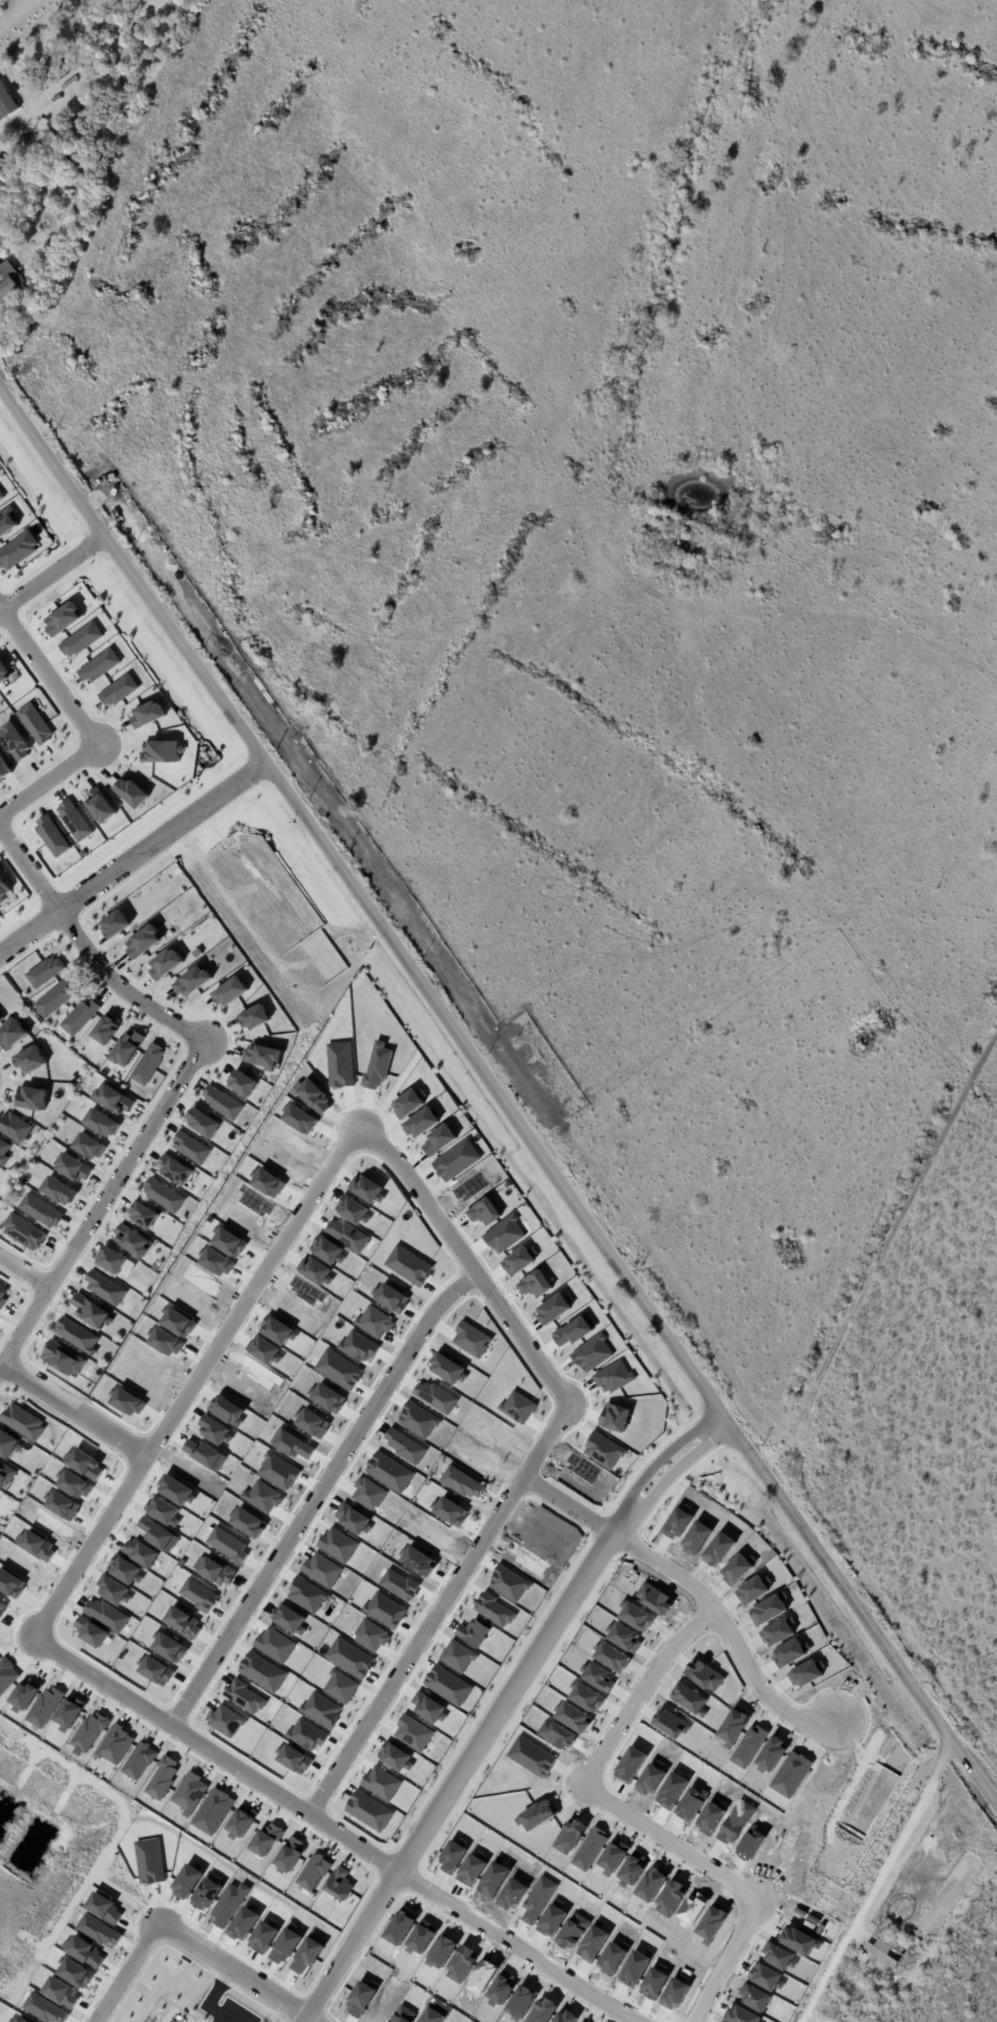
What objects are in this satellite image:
road: (27, 1)
road: (15, 11)
building: (70, 83)
building: (9, 95)
building: (47, 104)
building: (5, 107)
road: (1, 133)
building: (3, 170)
building: (82, 184)
building: (78, 204)
building: (11, 282)
building: (1, 496)
building: (8, 522)
building: (18, 551)
road: (52, 574)
building: (62, 619)
building: (80, 640)
building: (97, 666)
building: (3, 674)
building: (117, 691)
building: (146, 714)
building: (34, 724)
road: (83, 728)
building: (14, 742)
building: (161, 752)
building: (4, 770)
building: (131, 793)
building: (99, 806)
building: (73, 821)
building: (51, 837)
road: (132, 858)
building: (3, 890)
building: (115, 924)
building: (143, 942)
building: (165, 964)
building: (45, 972)
building: (191, 982)
building: (229, 992)
building: (55, 999)
building: (80, 1016)
building: (254, 1018)
building: (1, 1019)
building: (105, 1030)
building: (12, 1034)
building: (127, 1049)
building: (261, 1057)
building: (30, 1061)
building: (148, 1064)
road: (175, 1080)
building: (242, 1084)
road: (497, 1096)
building: (31, 1099)
building: (113, 1100)
building: (221, 1102)
building: (202, 1123)
building: (101, 1124)
building: (13, 1128)
building: (88, 1147)
building: (190, 1148)
building: (3, 1152)
building: (72, 1168)
building: (453, 1169)
building: (174, 1170)
building: (481, 1182)
building: (59, 1191)
building: (162, 1195)
building: (40, 1211)
building: (143, 1216)
building: (23, 1232)
building: (503, 1236)
building: (131, 1240)
road: (878, 1248)
road: (463, 1258)
building: (517, 1262)
building: (407, 1266)
road: (25, 1270)
building: (105, 1289)
building: (2, 1296)
building: (391, 1299)
building: (89, 1311)
building: (76, 1336)
building: (63, 1359)
building: (447, 1369)
road: (190, 1371)
building: (613, 1377)
road: (70, 1408)
building: (22, 1422)
building: (8, 1444)
building: (603, 1452)
road: (655, 1465)
building: (388, 1472)
building: (6, 1475)
road: (667, 1479)
road: (316, 1495)
building: (451, 1512)
building: (248, 1523)
building: (418, 1562)
road: (694, 1588)
road: (440, 1610)
building: (287, 1619)
building: (170, 1649)
building: (156, 1672)
building: (262, 1672)
building: (447, 1686)
road: (638, 1690)
building: (428, 1708)
building: (321, 1710)
building: (115, 1745)
building: (394, 1757)
building: (294, 1760)
road: (455, 1778)
building: (368, 1812)
building: (241, 1821)
road: (327, 1826)
road: (669, 1842)
building: (289, 1854)
road: (878, 1883)
building: (880, 1949)
road: (725, 1960)
road: (127, 1975)
road: (231, 1975)
building: (864, 1989)

